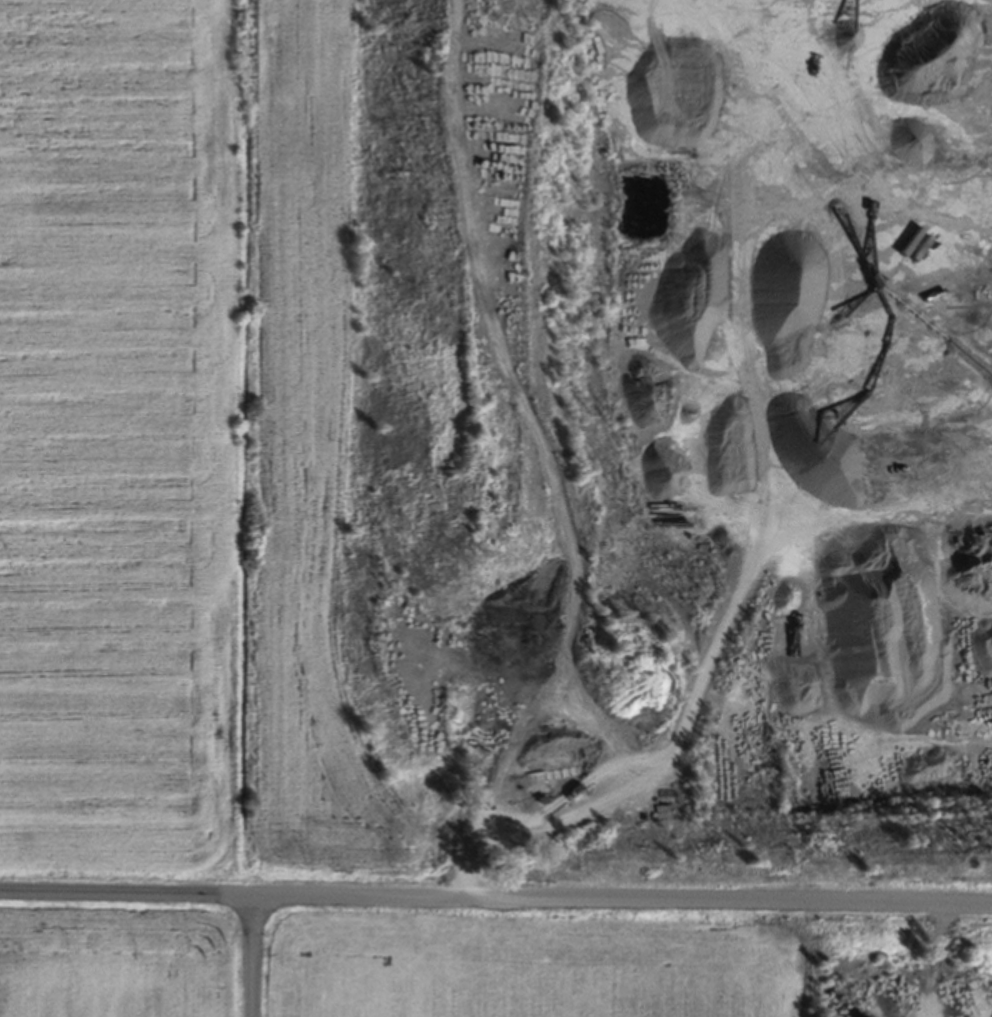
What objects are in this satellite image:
quarry: (682, 471)
road: (496, 896)
road: (251, 955)

